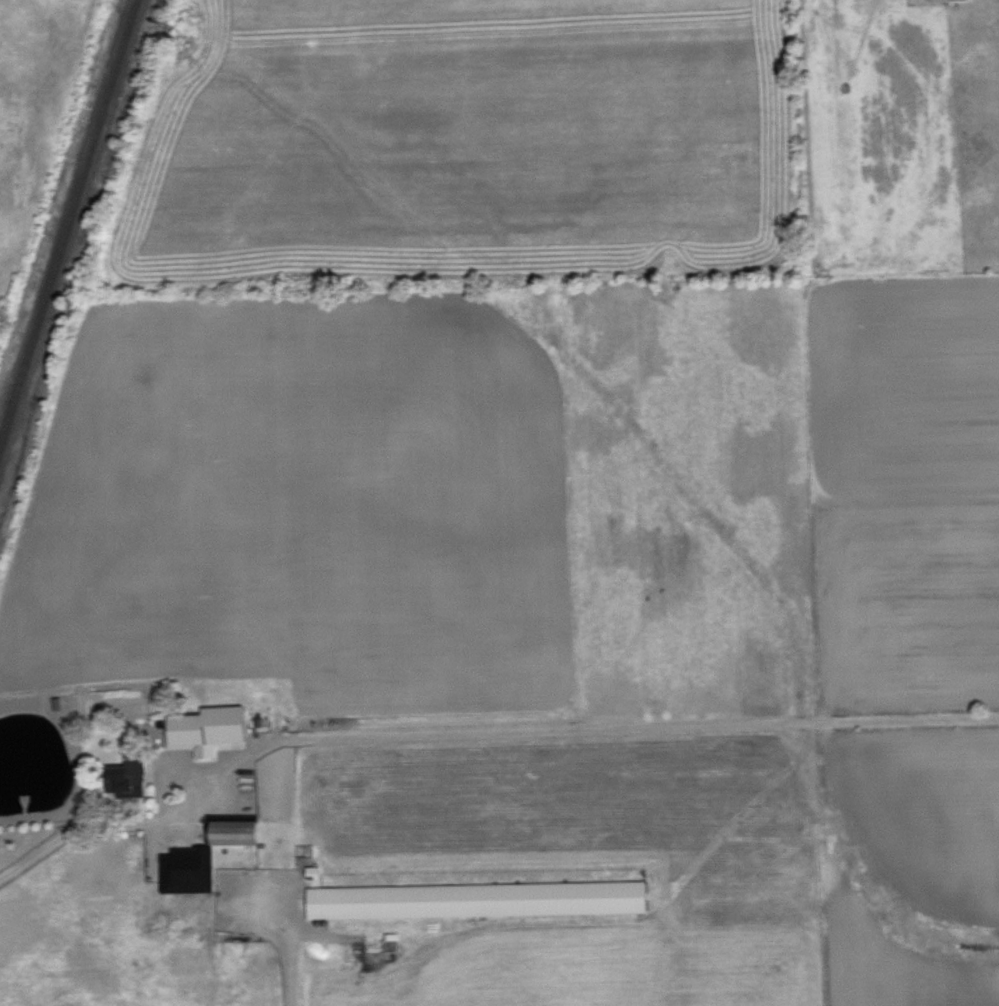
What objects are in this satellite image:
railway: (67, 223)
building: (206, 729)
road: (480, 738)
building: (129, 776)
building: (236, 833)
building: (186, 871)
building: (479, 899)
road: (287, 962)

